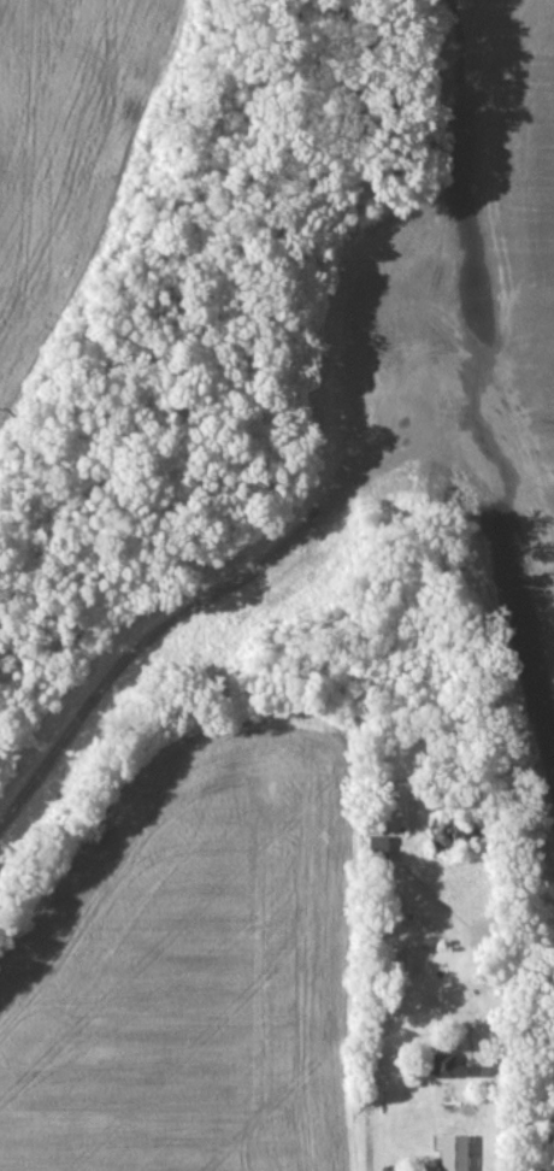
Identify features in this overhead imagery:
building: (458, 831)
building: (381, 848)
building: (408, 964)
road: (500, 978)
building: (507, 1065)
building: (456, 1066)
road: (370, 1101)
building: (456, 1153)

